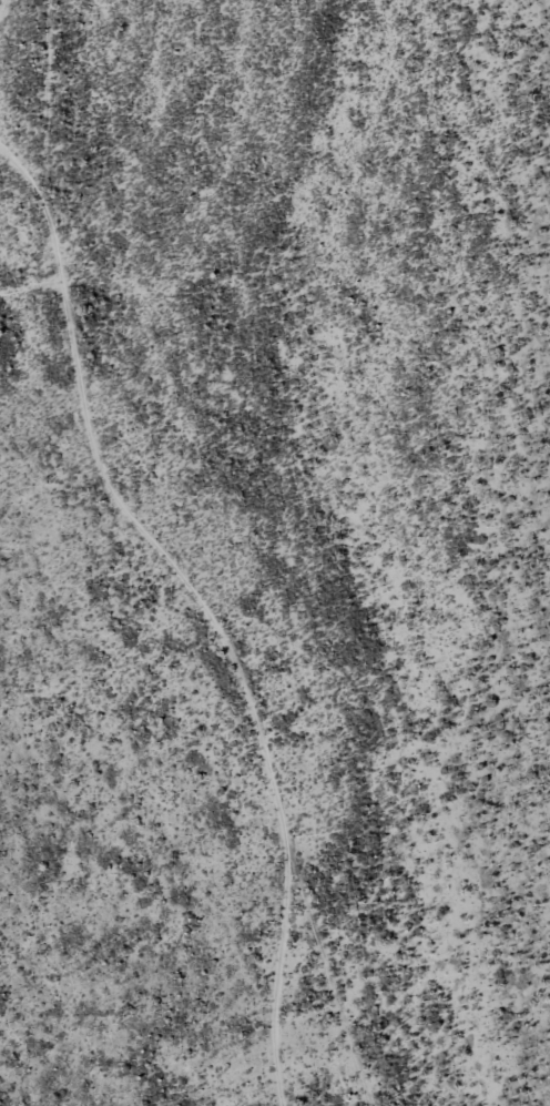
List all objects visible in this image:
road: (34, 189)
road: (259, 688)

